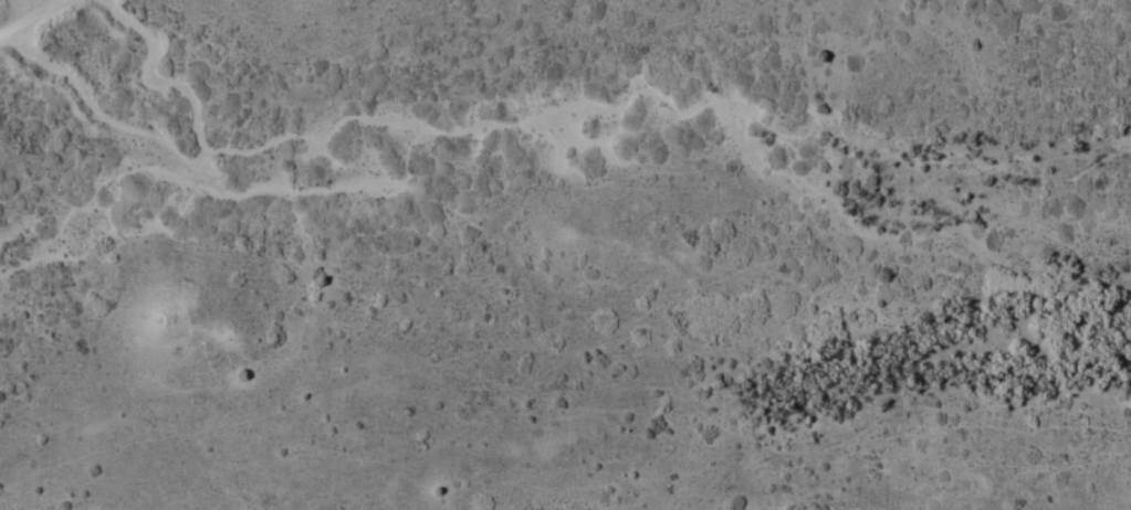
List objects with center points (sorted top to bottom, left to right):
road: (31, 19)

